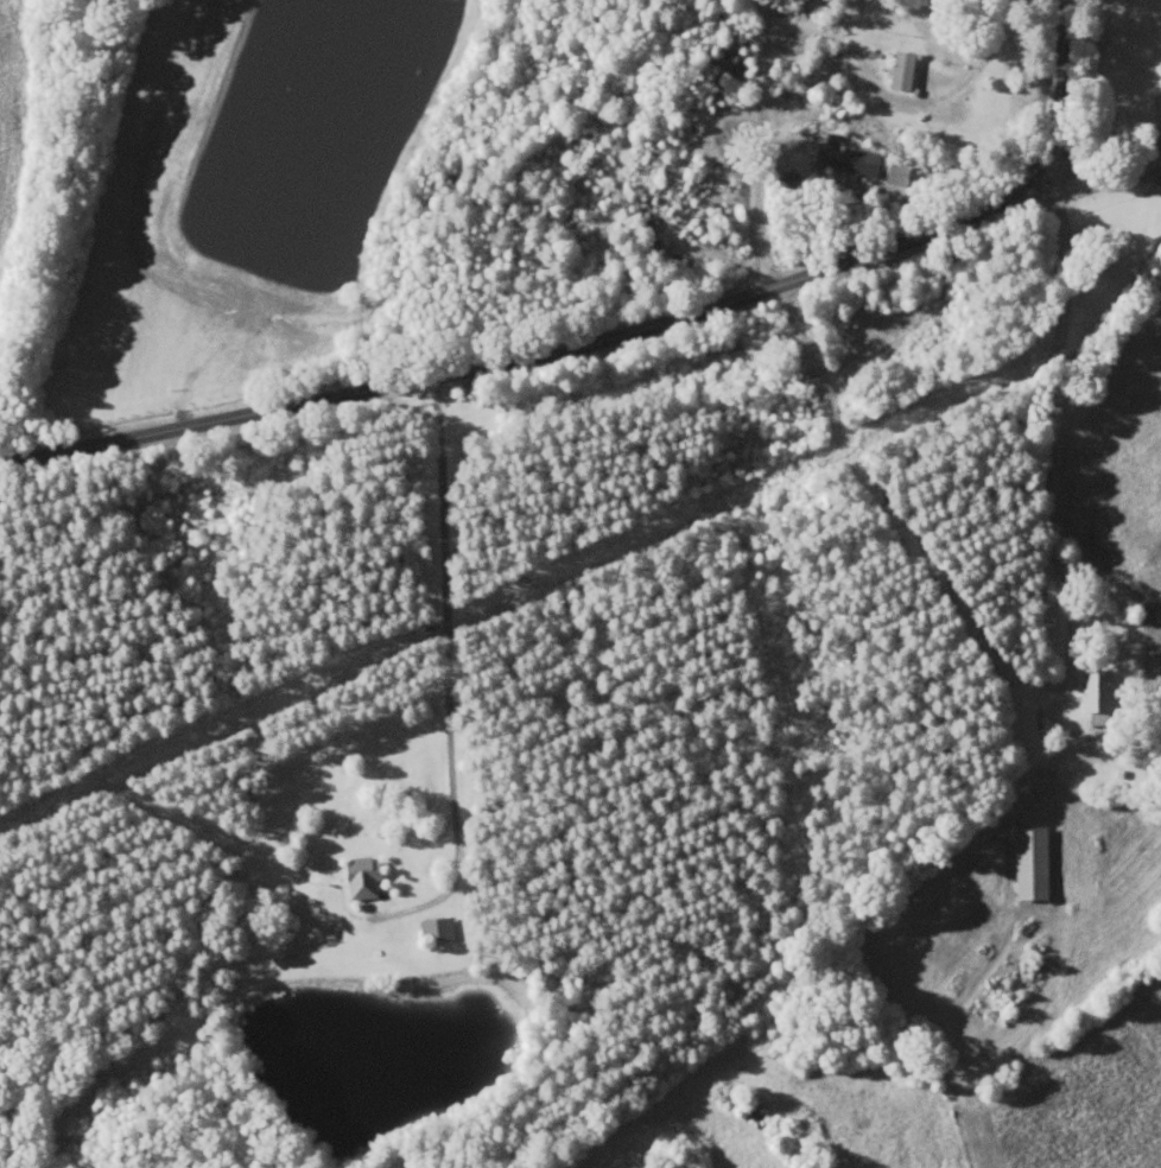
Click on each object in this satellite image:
building: (742, 44)
building: (744, 69)
building: (914, 72)
road: (1043, 96)
building: (858, 160)
road: (1096, 174)
building: (908, 177)
road: (524, 362)
road: (1049, 450)
building: (1108, 691)
building: (1043, 862)
building: (372, 878)
building: (444, 928)

